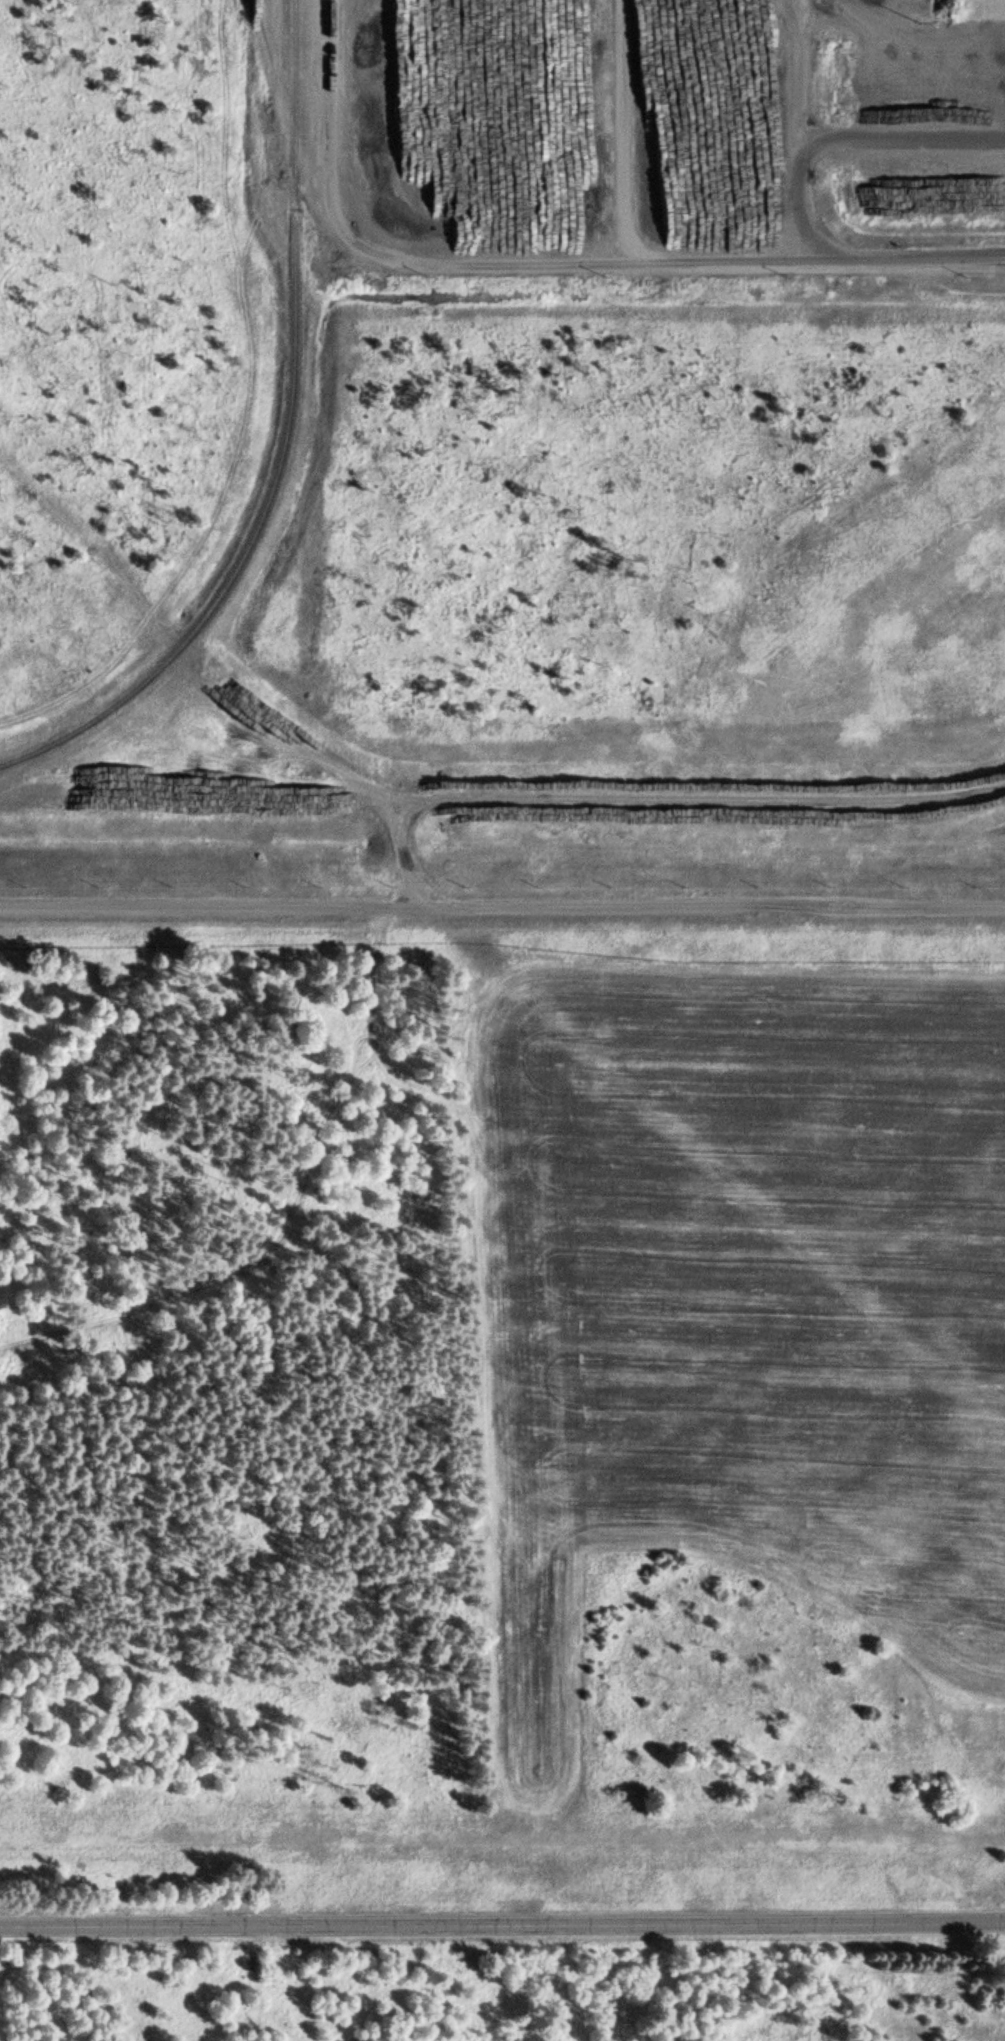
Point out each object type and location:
road: (547, 260)
railway: (285, 445)
road: (658, 800)
road: (502, 906)
road: (502, 1923)

